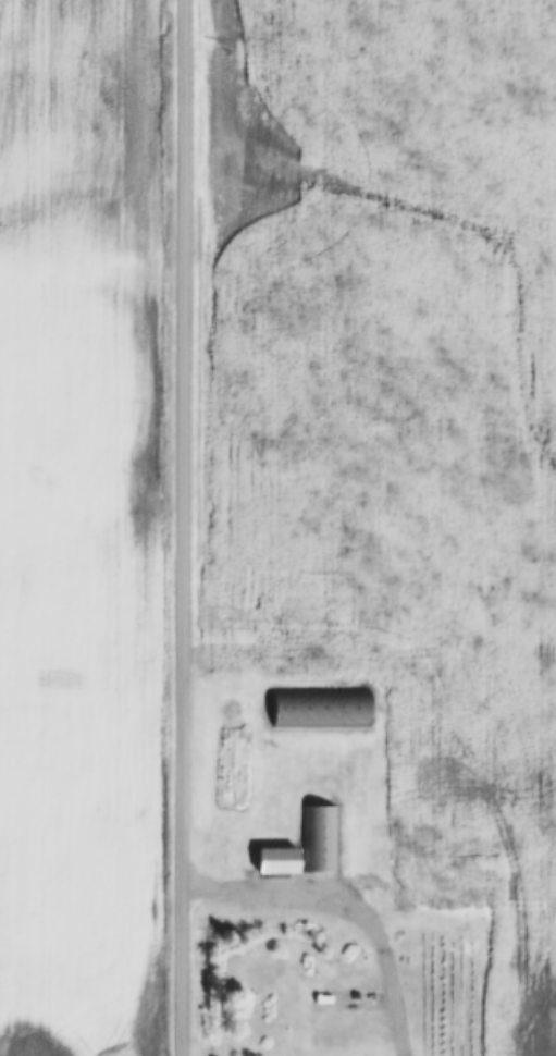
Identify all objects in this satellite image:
road: (176, 527)
building: (318, 708)
building: (317, 838)
building: (273, 860)
road: (343, 904)
building: (330, 1019)

